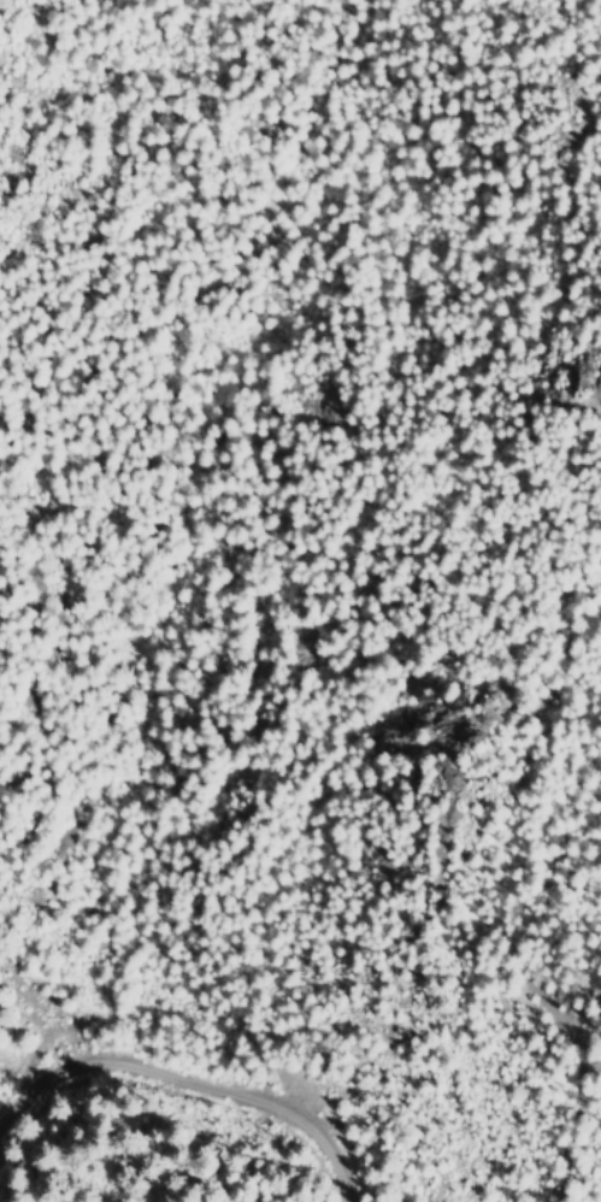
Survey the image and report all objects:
road: (568, 1088)
road: (179, 1089)

